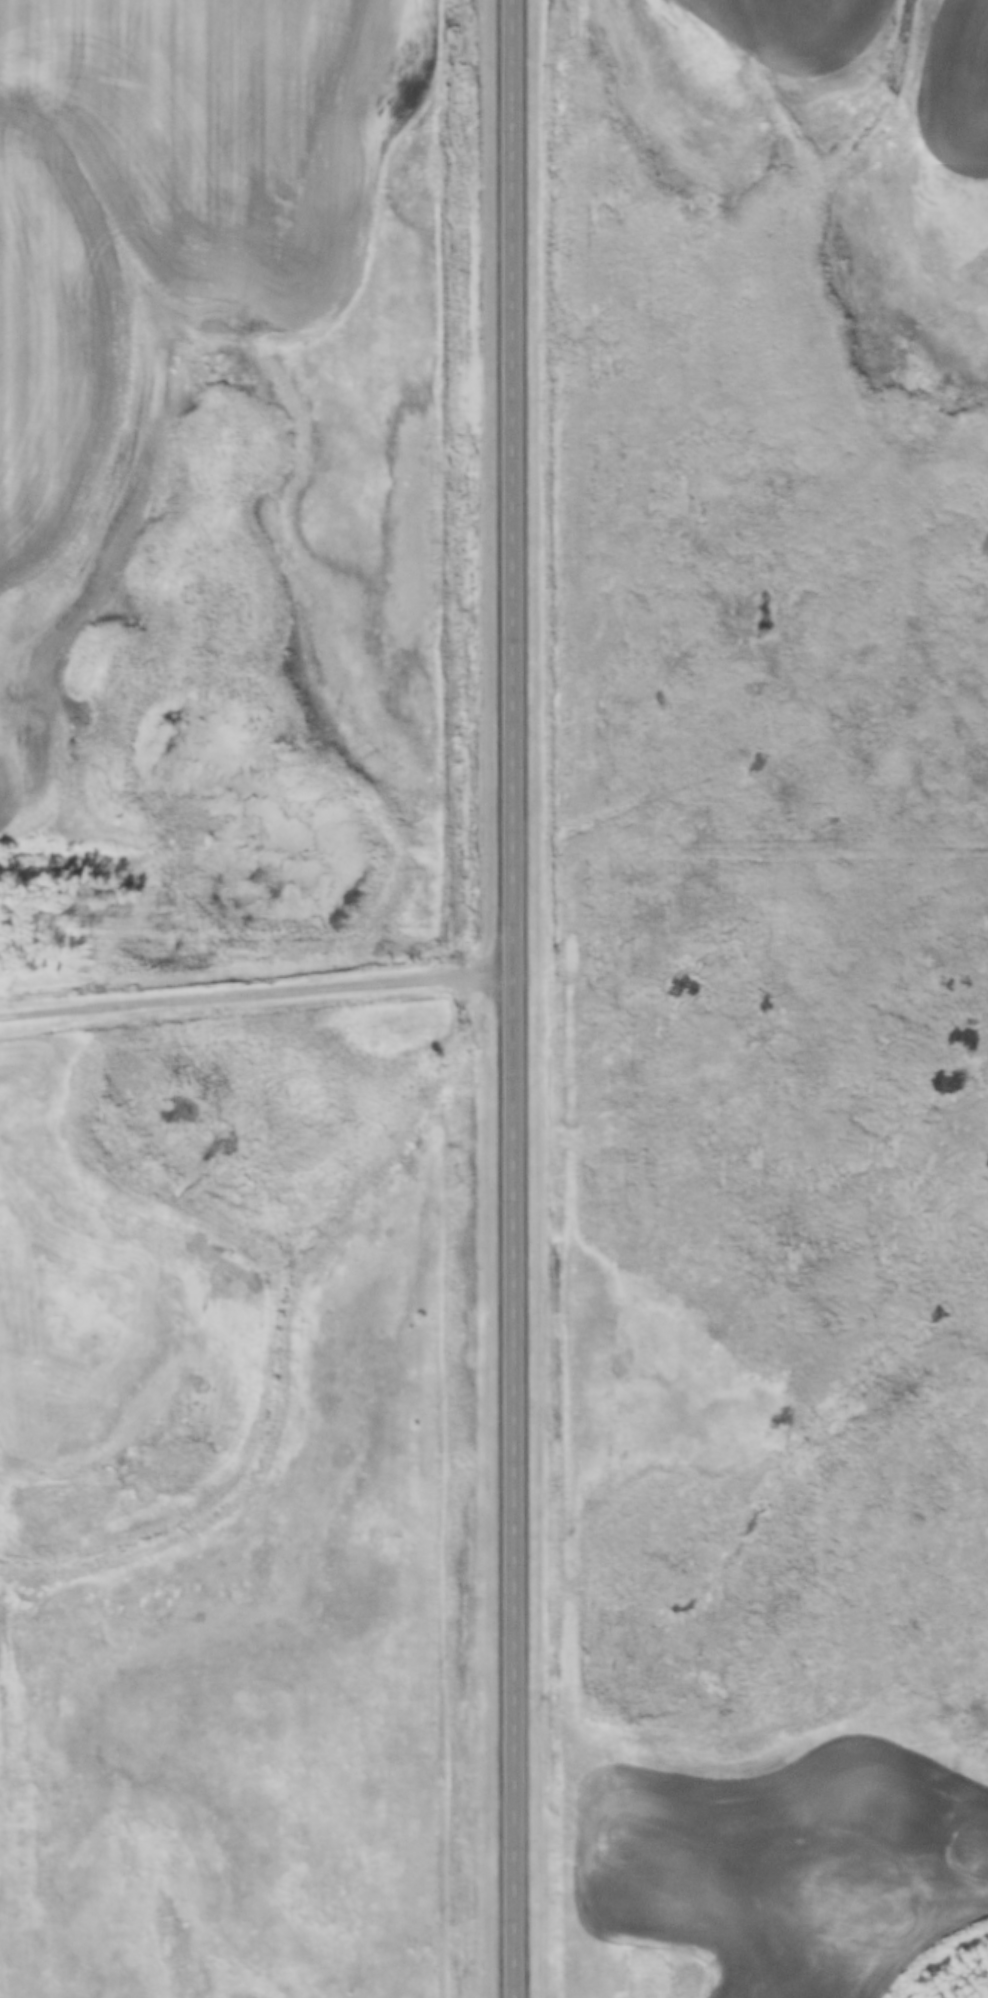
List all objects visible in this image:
road: (254, 994)
road: (509, 999)

